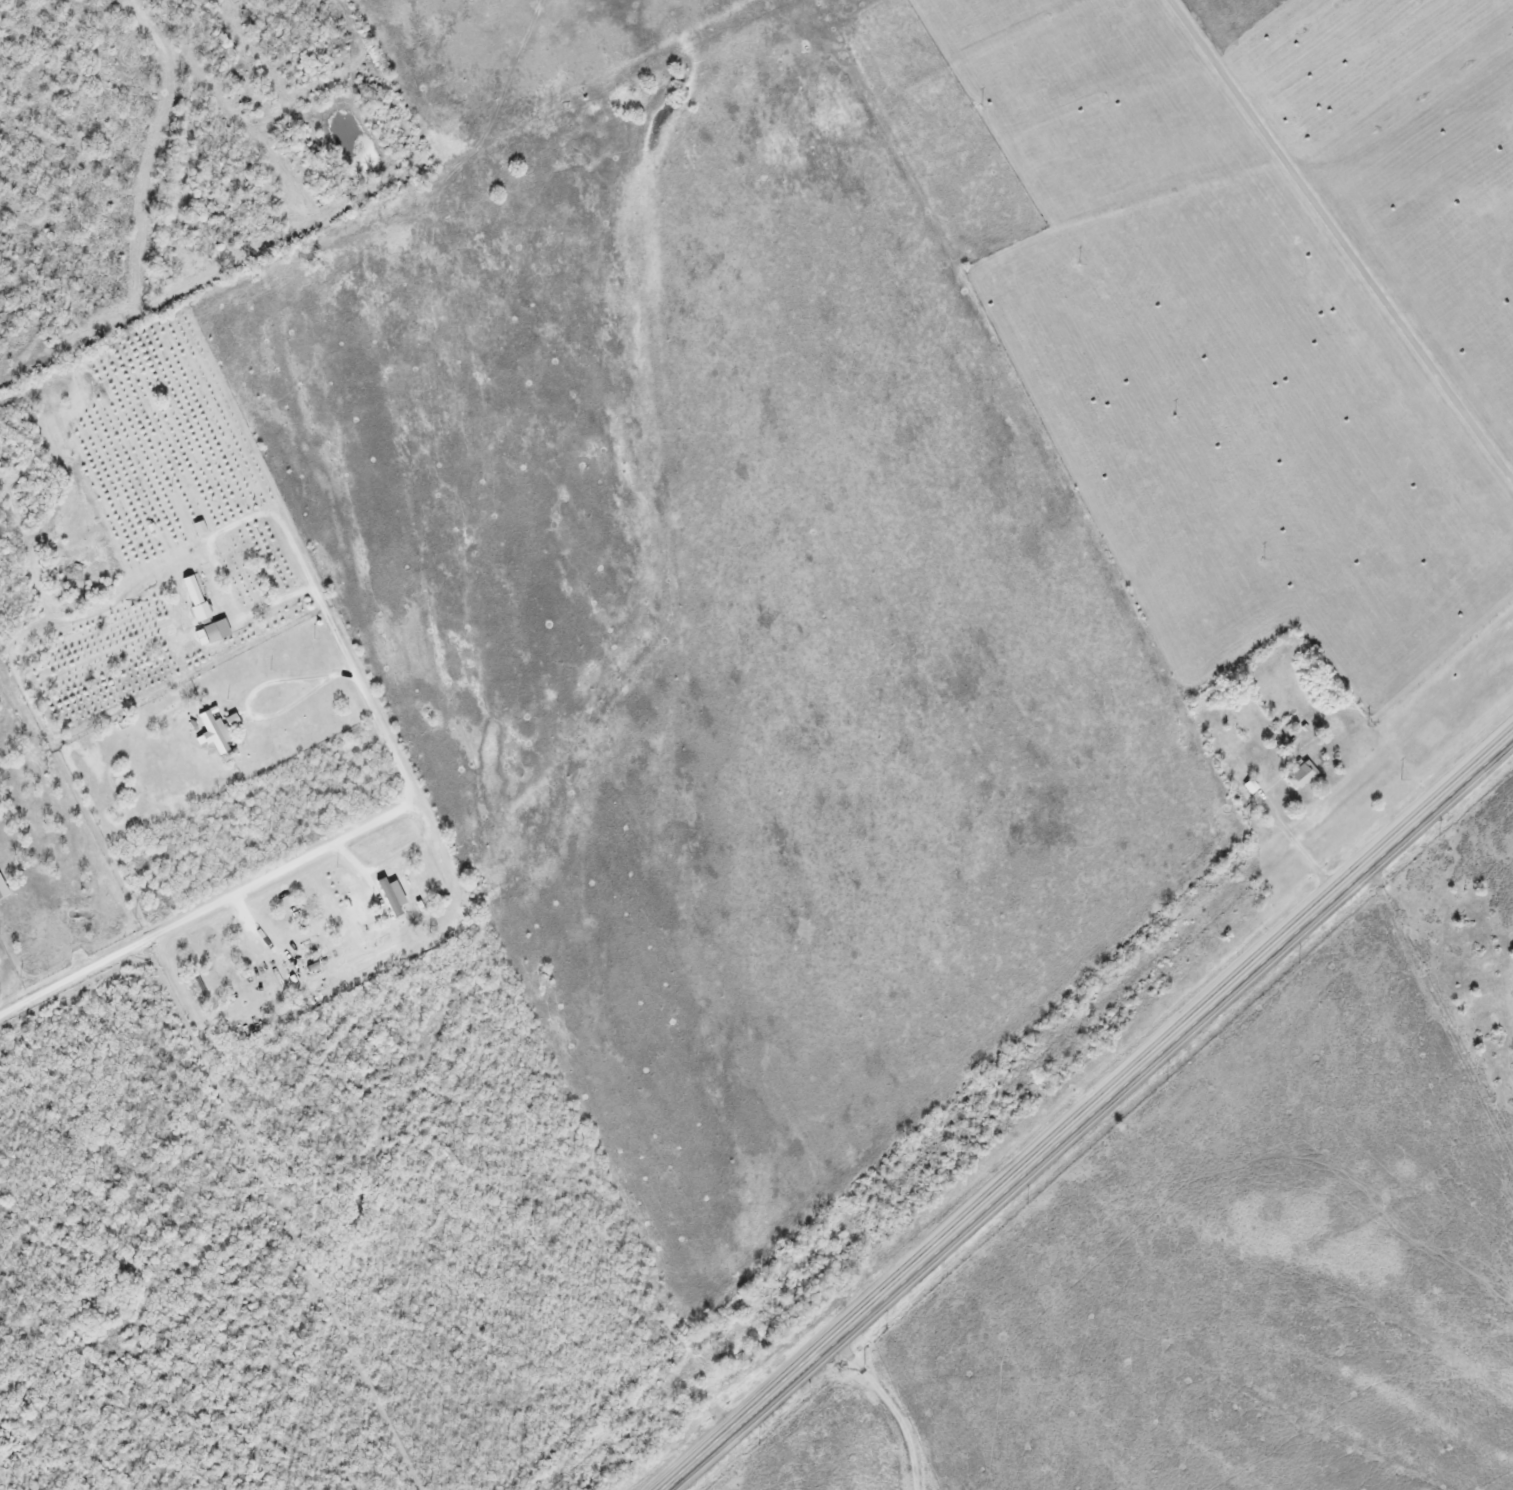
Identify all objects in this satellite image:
road: (1340, 242)
road: (213, 536)
building: (202, 612)
building: (217, 630)
building: (1302, 775)
road: (298, 862)
building: (393, 895)
building: (0, 899)
road: (1087, 1110)
road: (889, 1406)

